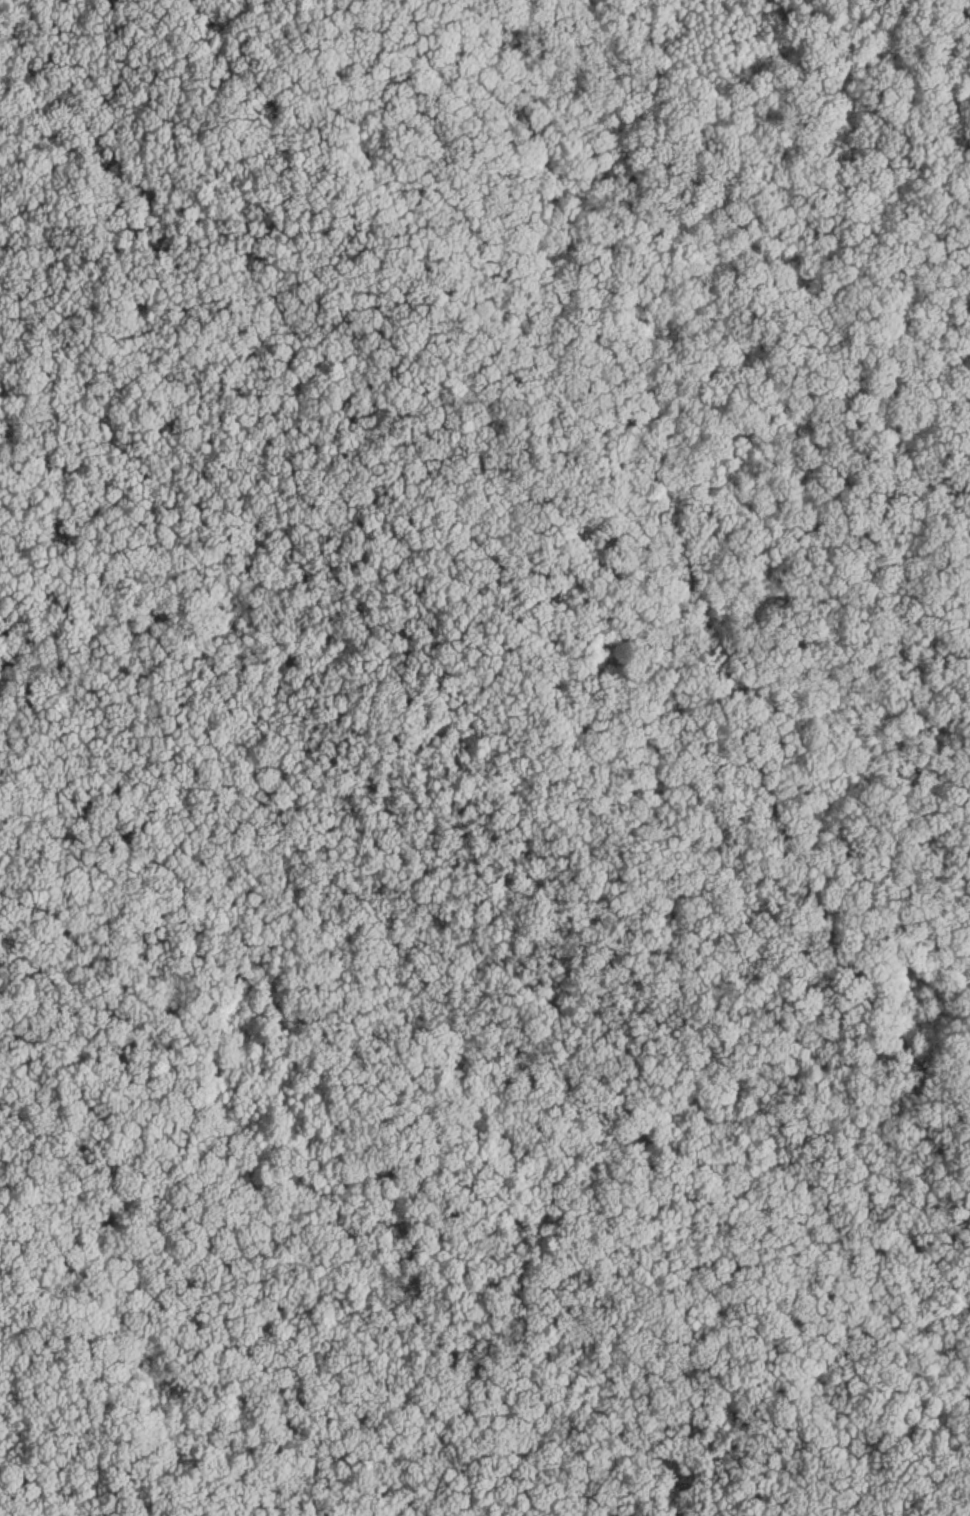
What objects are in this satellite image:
road: (694, 578)

